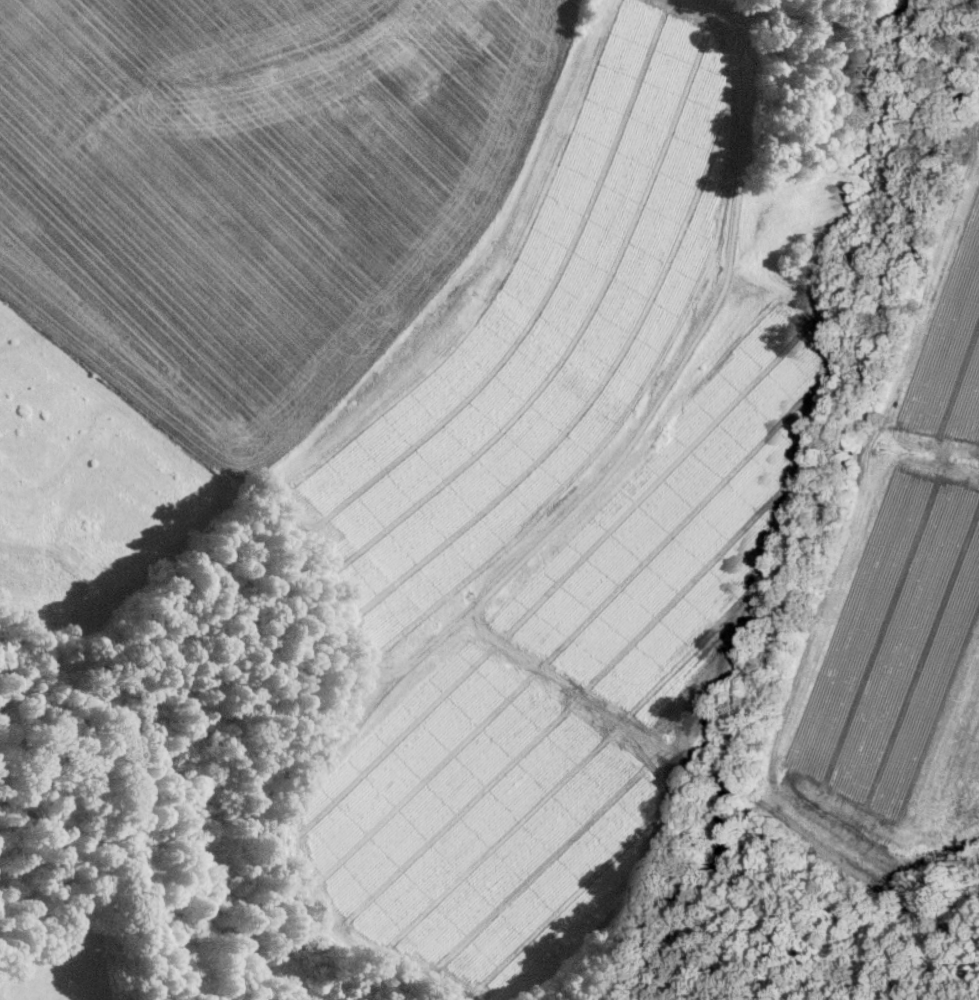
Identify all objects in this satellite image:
crop: (895, 10)
road: (902, 16)
road: (817, 20)
road: (661, 391)
crop: (425, 405)
road: (719, 780)
crop: (62, 960)

